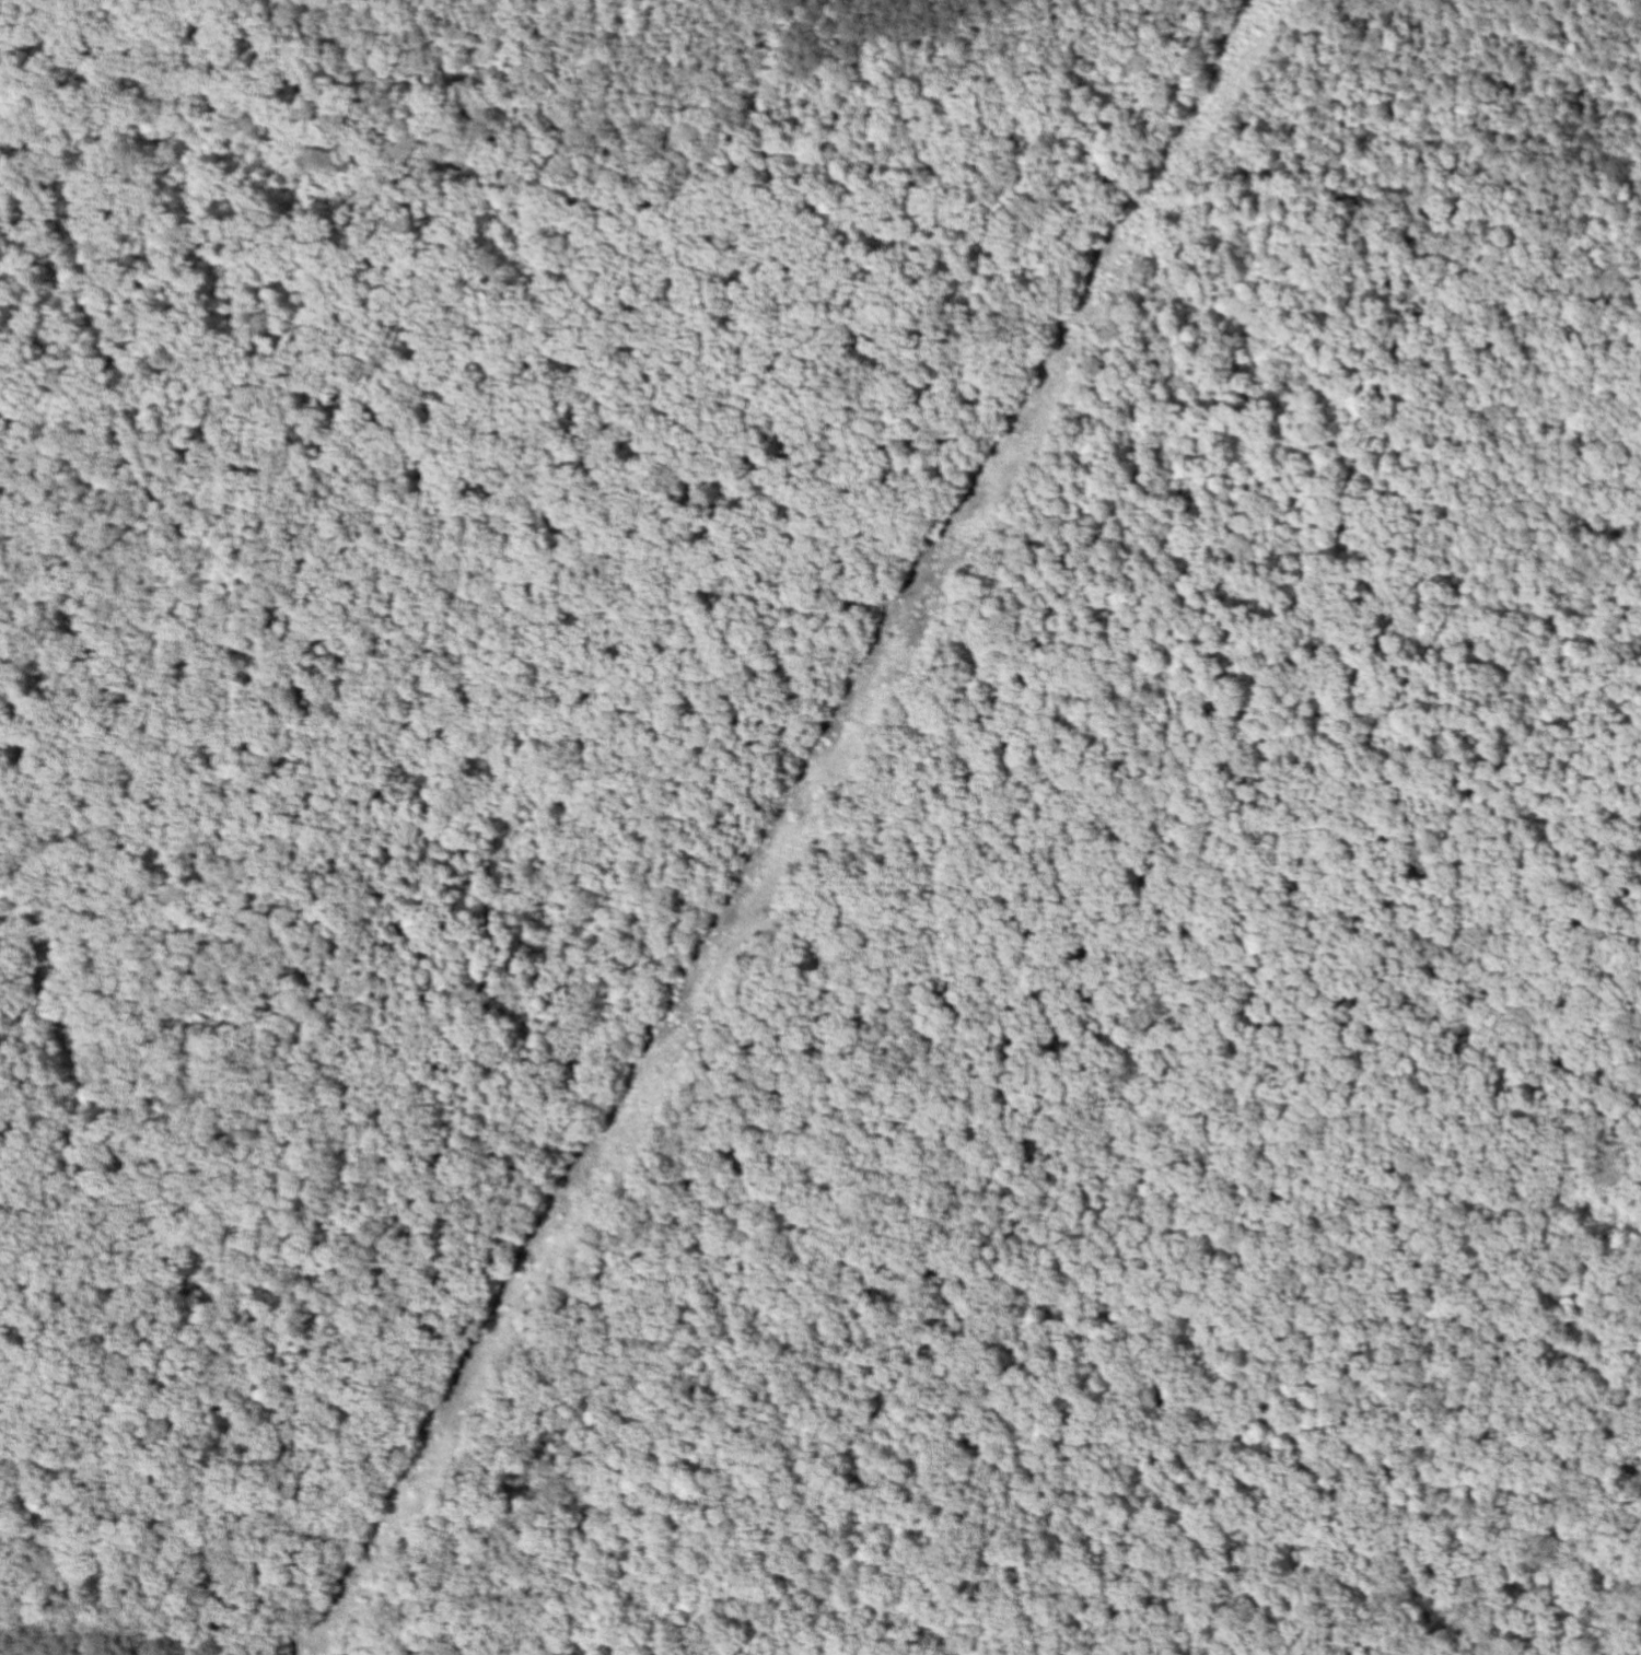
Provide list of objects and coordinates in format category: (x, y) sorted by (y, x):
road: (83, 133)
road: (133, 1176)

